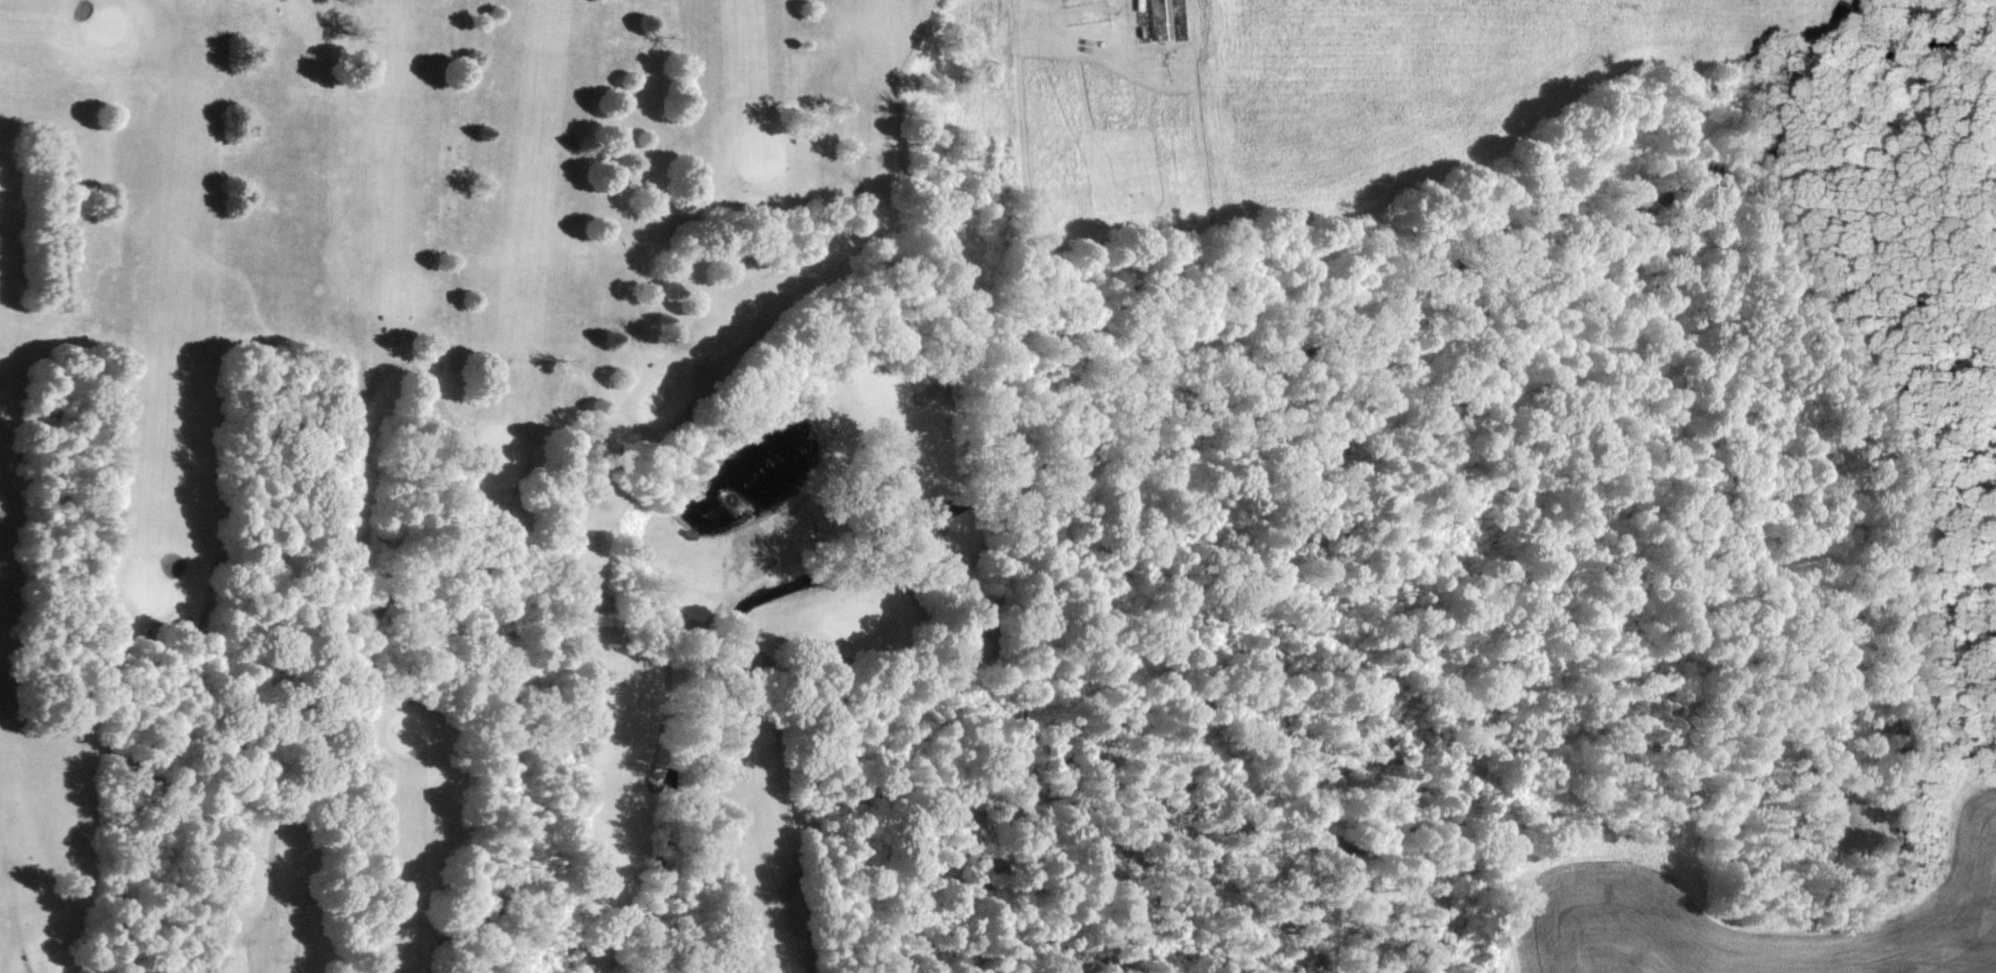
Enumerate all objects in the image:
park: (481, 466)

